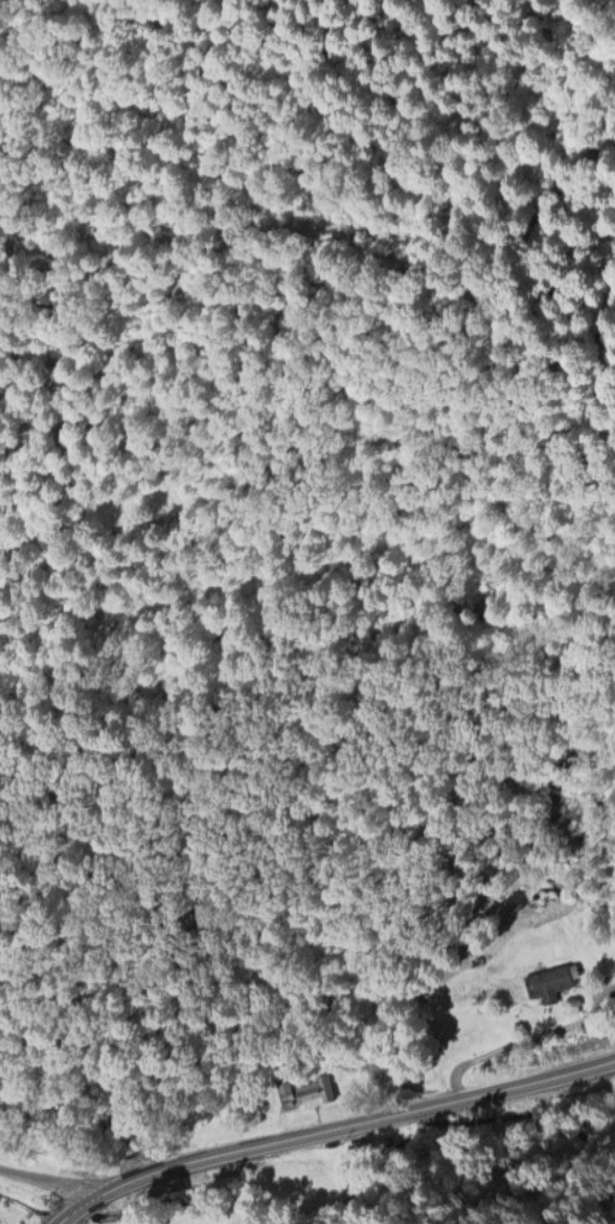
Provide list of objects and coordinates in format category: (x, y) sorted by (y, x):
building: (549, 977)
road: (520, 1036)
building: (303, 1088)
road: (331, 1128)
building: (363, 1149)
road: (51, 1179)

